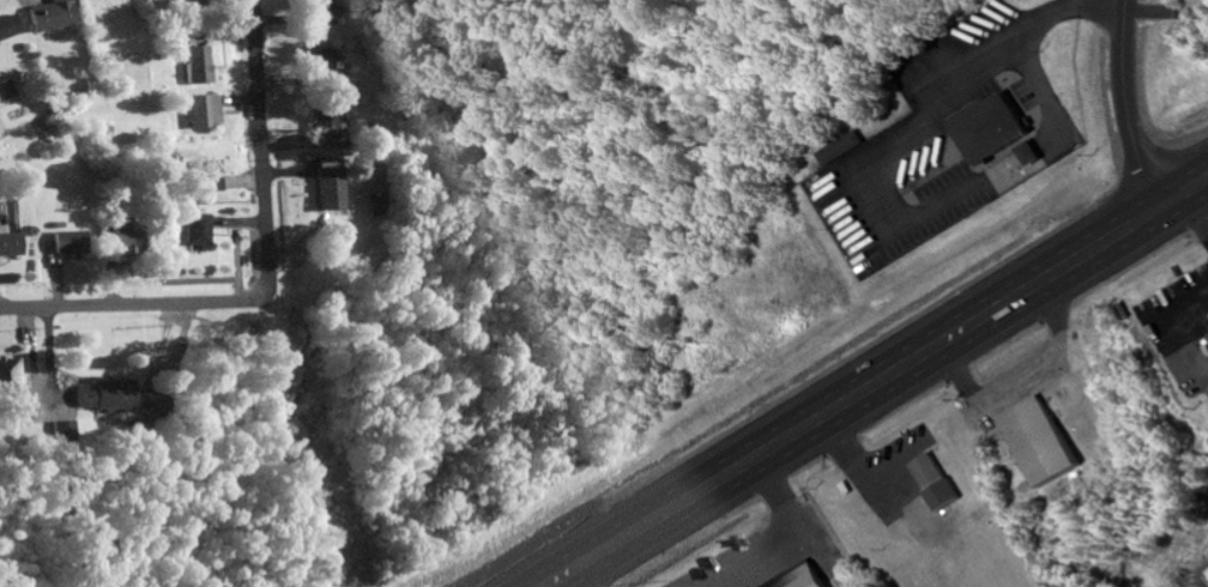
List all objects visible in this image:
building: (170, 2)
building: (103, 11)
building: (316, 12)
building: (46, 16)
building: (5, 25)
building: (316, 61)
building: (192, 65)
building: (4, 90)
road: (1125, 107)
building: (197, 113)
building: (322, 123)
building: (990, 125)
building: (838, 149)
road: (261, 150)
building: (1027, 153)
building: (200, 178)
building: (324, 186)
building: (188, 230)
building: (120, 236)
building: (62, 243)
building: (7, 246)
road: (133, 303)
building: (1207, 334)
building: (5, 373)
road: (875, 382)
building: (96, 394)
building: (1038, 441)
building: (934, 482)
building: (799, 577)

